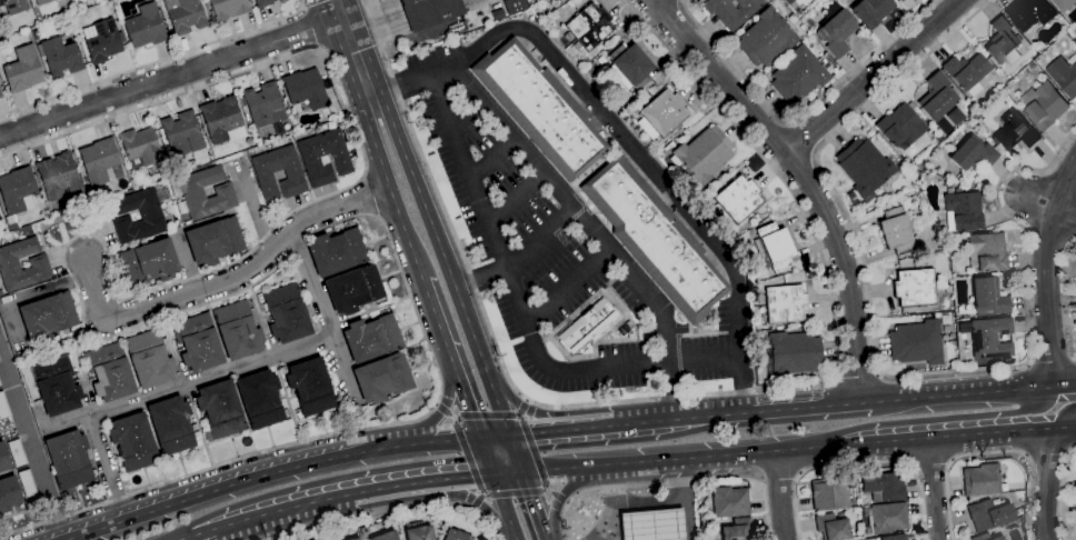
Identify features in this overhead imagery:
building: (279, 0)
building: (539, 0)
road: (679, 0)
building: (900, 0)
building: (788, 1)
building: (42, 2)
building: (262, 3)
building: (569, 4)
building: (1065, 4)
building: (12, 6)
building: (496, 6)
building: (514, 6)
building: (227, 9)
building: (731, 11)
building: (871, 11)
building: (429, 12)
building: (1032, 12)
building: (185, 14)
building: (497, 14)
road: (372, 18)
building: (145, 26)
building: (587, 28)
road: (309, 29)
building: (836, 32)
building: (22, 33)
building: (766, 38)
building: (101, 41)
building: (1004, 41)
building: (611, 46)
building: (1037, 46)
road: (353, 50)
building: (59, 57)
building: (600, 60)
road: (155, 62)
building: (1033, 66)
building: (629, 67)
building: (23, 70)
building: (966, 72)
building: (1065, 74)
building: (798, 76)
road: (171, 77)
road: (871, 77)
building: (305, 90)
building: (635, 94)
building: (0, 96)
building: (937, 97)
building: (262, 104)
building: (1045, 104)
building: (539, 109)
building: (620, 109)
building: (661, 114)
road: (466, 116)
road: (799, 116)
building: (246, 117)
building: (222, 120)
building: (899, 127)
building: (277, 129)
building: (1016, 133)
building: (181, 134)
road: (621, 136)
building: (984, 136)
building: (114, 139)
building: (119, 148)
building: (141, 148)
building: (948, 148)
building: (701, 154)
building: (972, 154)
road: (491, 158)
building: (98, 160)
building: (340, 160)
building: (865, 168)
building: (153, 170)
building: (293, 176)
building: (59, 177)
building: (129, 177)
road: (800, 180)
road: (389, 190)
building: (17, 193)
building: (202, 193)
road: (514, 198)
building: (737, 200)
road: (1048, 206)
road: (574, 208)
building: (962, 211)
road: (256, 214)
building: (150, 216)
building: (895, 229)
parking lot: (517, 233)
road: (538, 238)
building: (655, 239)
building: (213, 241)
building: (775, 247)
building: (336, 252)
building: (986, 253)
building: (38, 263)
building: (148, 263)
road: (446, 263)
road: (1046, 273)
road: (480, 280)
road: (225, 282)
road: (564, 282)
road: (309, 283)
building: (914, 288)
building: (353, 289)
building: (988, 297)
road: (1067, 297)
building: (785, 303)
building: (286, 313)
road: (520, 313)
building: (47, 316)
building: (928, 316)
building: (936, 316)
building: (587, 327)
building: (237, 330)
road: (102, 338)
building: (371, 338)
building: (989, 338)
building: (197, 343)
building: (916, 343)
building: (791, 354)
road: (450, 358)
building: (149, 360)
parking lot: (646, 361)
road: (1050, 361)
road: (876, 368)
building: (109, 372)
building: (382, 378)
road: (857, 379)
building: (76, 381)
road: (183, 381)
road: (6, 384)
building: (56, 386)
road: (1066, 386)
building: (310, 387)
road: (672, 391)
road: (957, 394)
road: (688, 396)
road: (445, 398)
building: (259, 399)
road: (1025, 406)
building: (3, 407)
road: (522, 407)
building: (219, 409)
road: (444, 410)
road: (755, 412)
road: (540, 413)
road: (486, 416)
road: (1069, 418)
road: (631, 423)
building: (170, 426)
road: (1037, 429)
road: (559, 430)
traffic signals: (509, 436)
road: (495, 437)
traffic signals: (480, 438)
road: (916, 438)
building: (132, 442)
road: (30, 446)
road: (992, 451)
road: (534, 452)
road: (1047, 452)
building: (17, 453)
road: (515, 453)
road: (467, 456)
road: (487, 457)
road: (677, 458)
building: (3, 459)
building: (68, 459)
road: (860, 463)
road: (18, 469)
traffic signals: (521, 472)
road: (270, 473)
road: (507, 473)
traffic signals: (494, 476)
building: (980, 480)
road: (671, 482)
road: (1046, 482)
building: (27, 483)
building: (883, 487)
road: (934, 489)
road: (565, 491)
road: (445, 492)
road: (515, 492)
road: (1065, 492)
building: (8, 493)
building: (828, 494)
road: (340, 496)
road: (557, 496)
road: (779, 496)
road: (477, 502)
road: (646, 502)
building: (729, 502)
road: (534, 506)
road: (505, 508)
road: (385, 510)
road: (20, 513)
building: (988, 514)
road: (687, 516)
building: (885, 518)
road: (607, 519)
building: (649, 524)
gas station: (649, 524)
building: (830, 527)
building: (736, 529)
building: (418, 533)
building: (383, 536)
building: (455, 536)
building: (891, 537)
building: (984, 537)
road: (185, 538)
building: (353, 538)
building: (311, 539)

